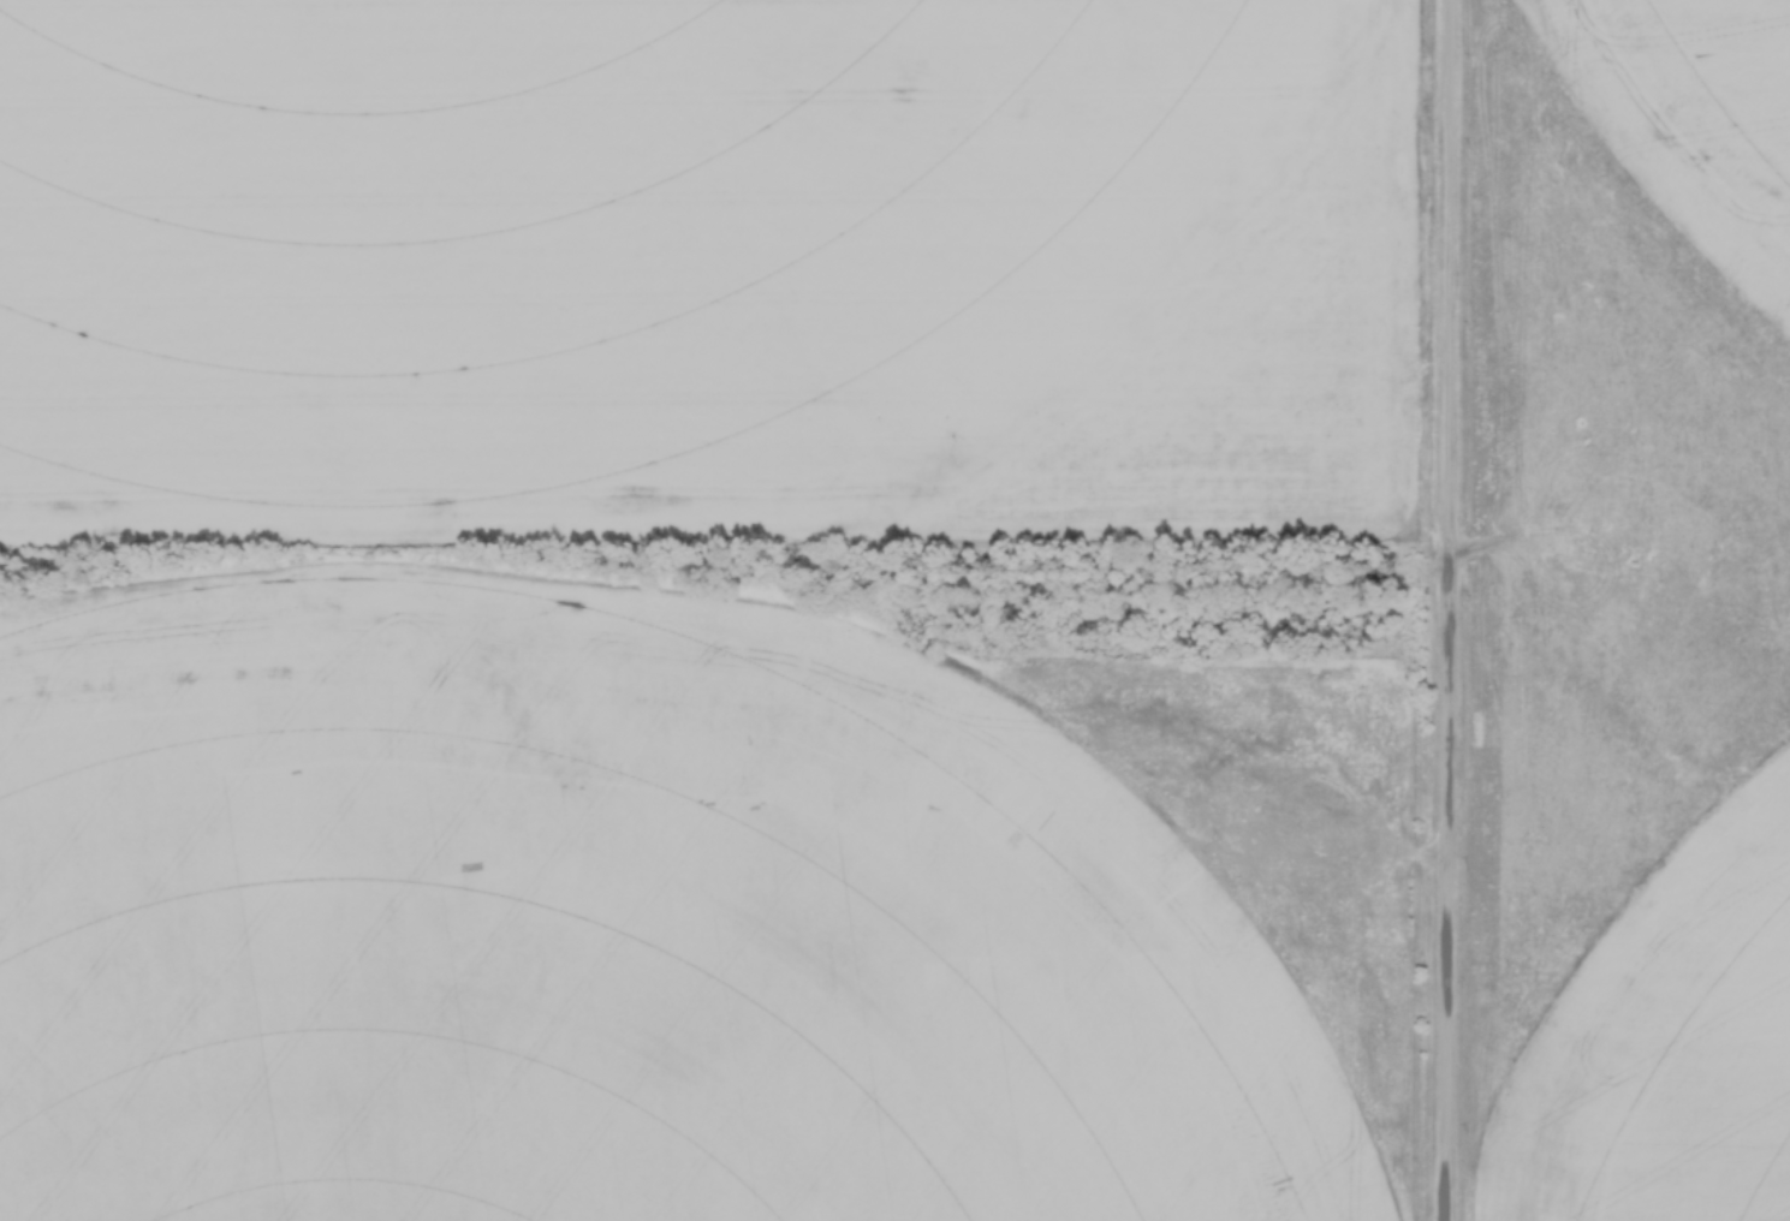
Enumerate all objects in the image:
road: (1446, 610)

